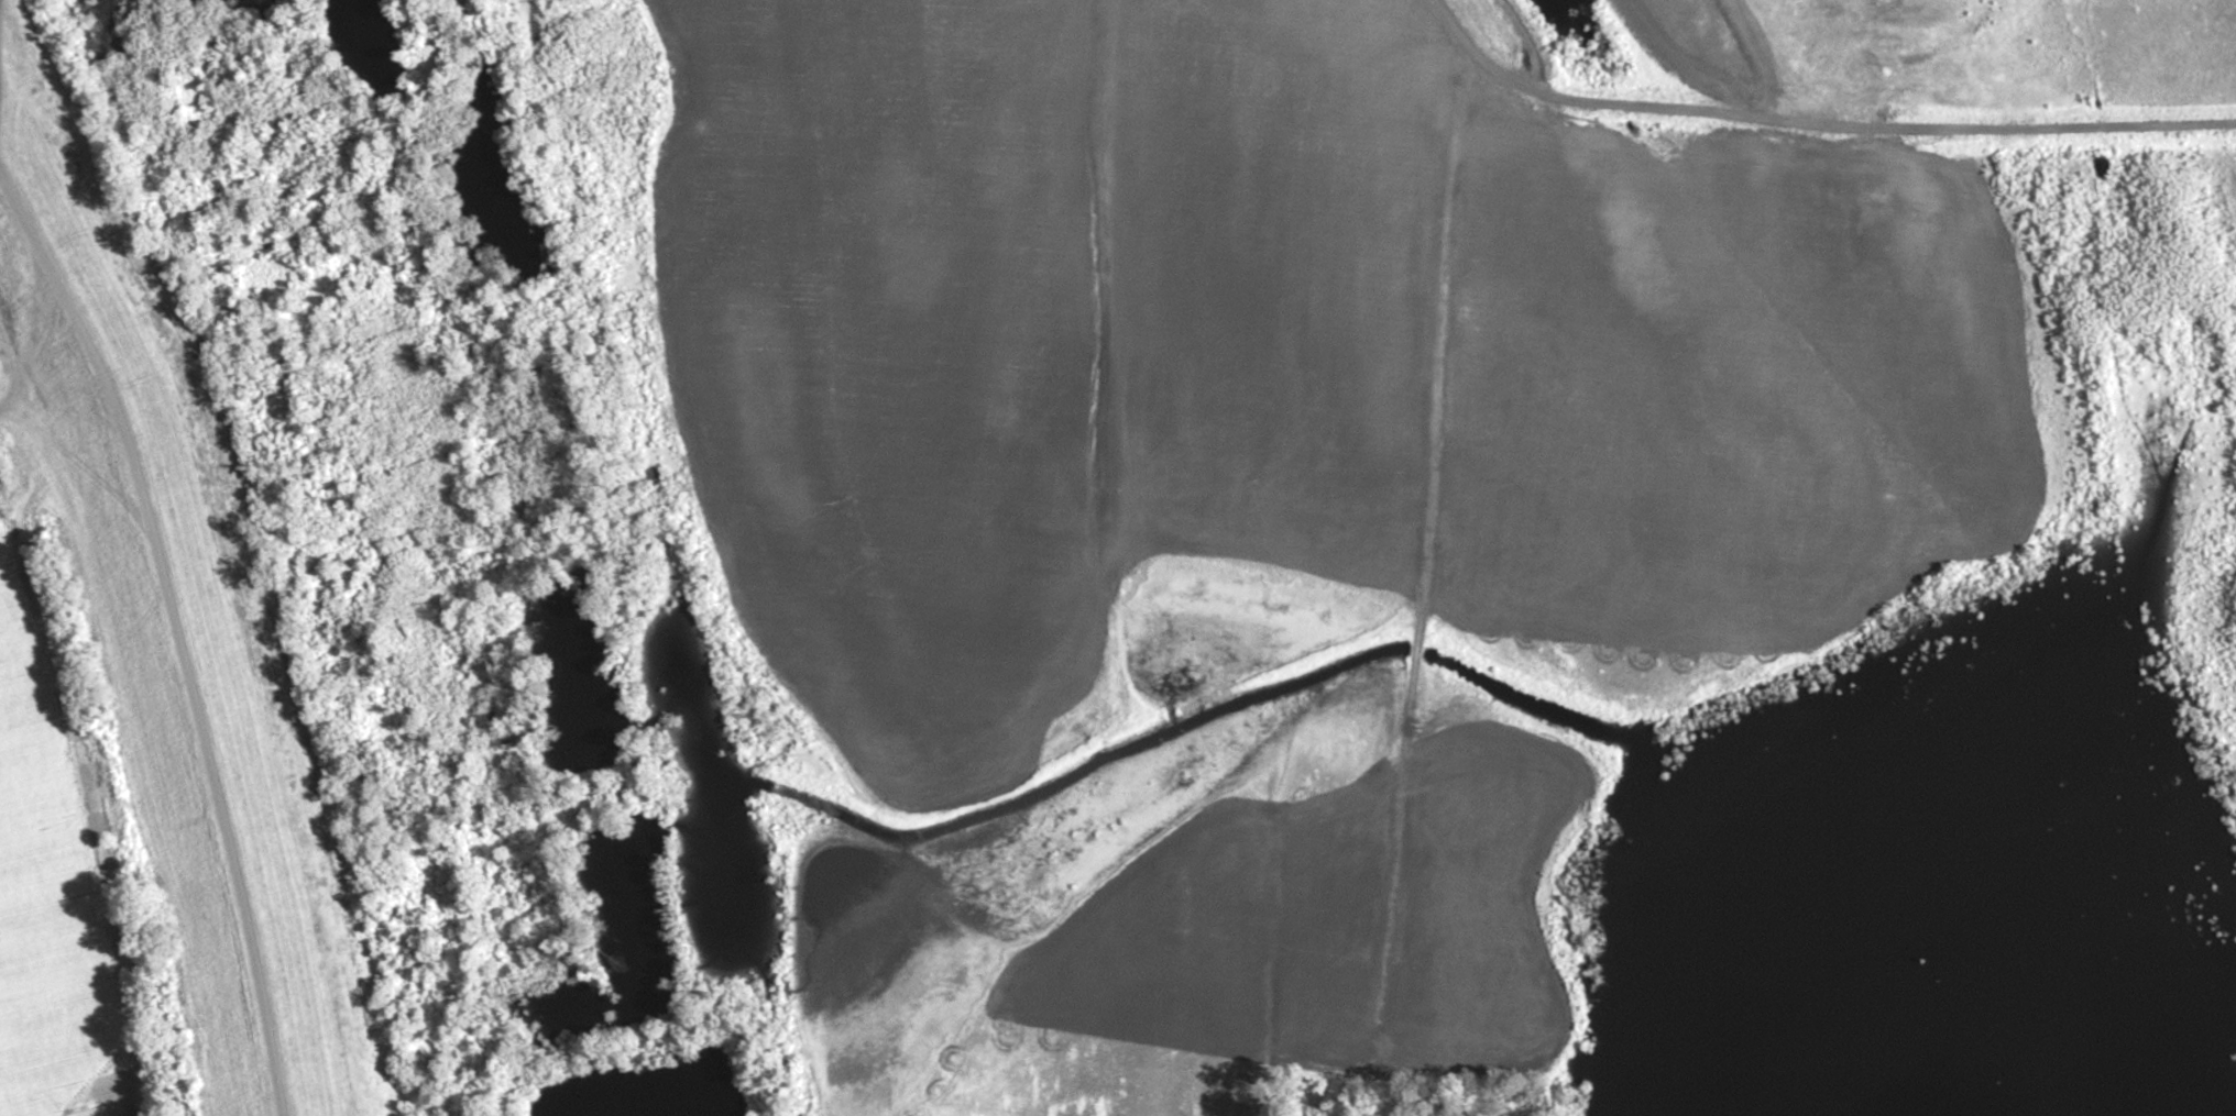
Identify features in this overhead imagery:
road: (14, 377)
road: (176, 636)

